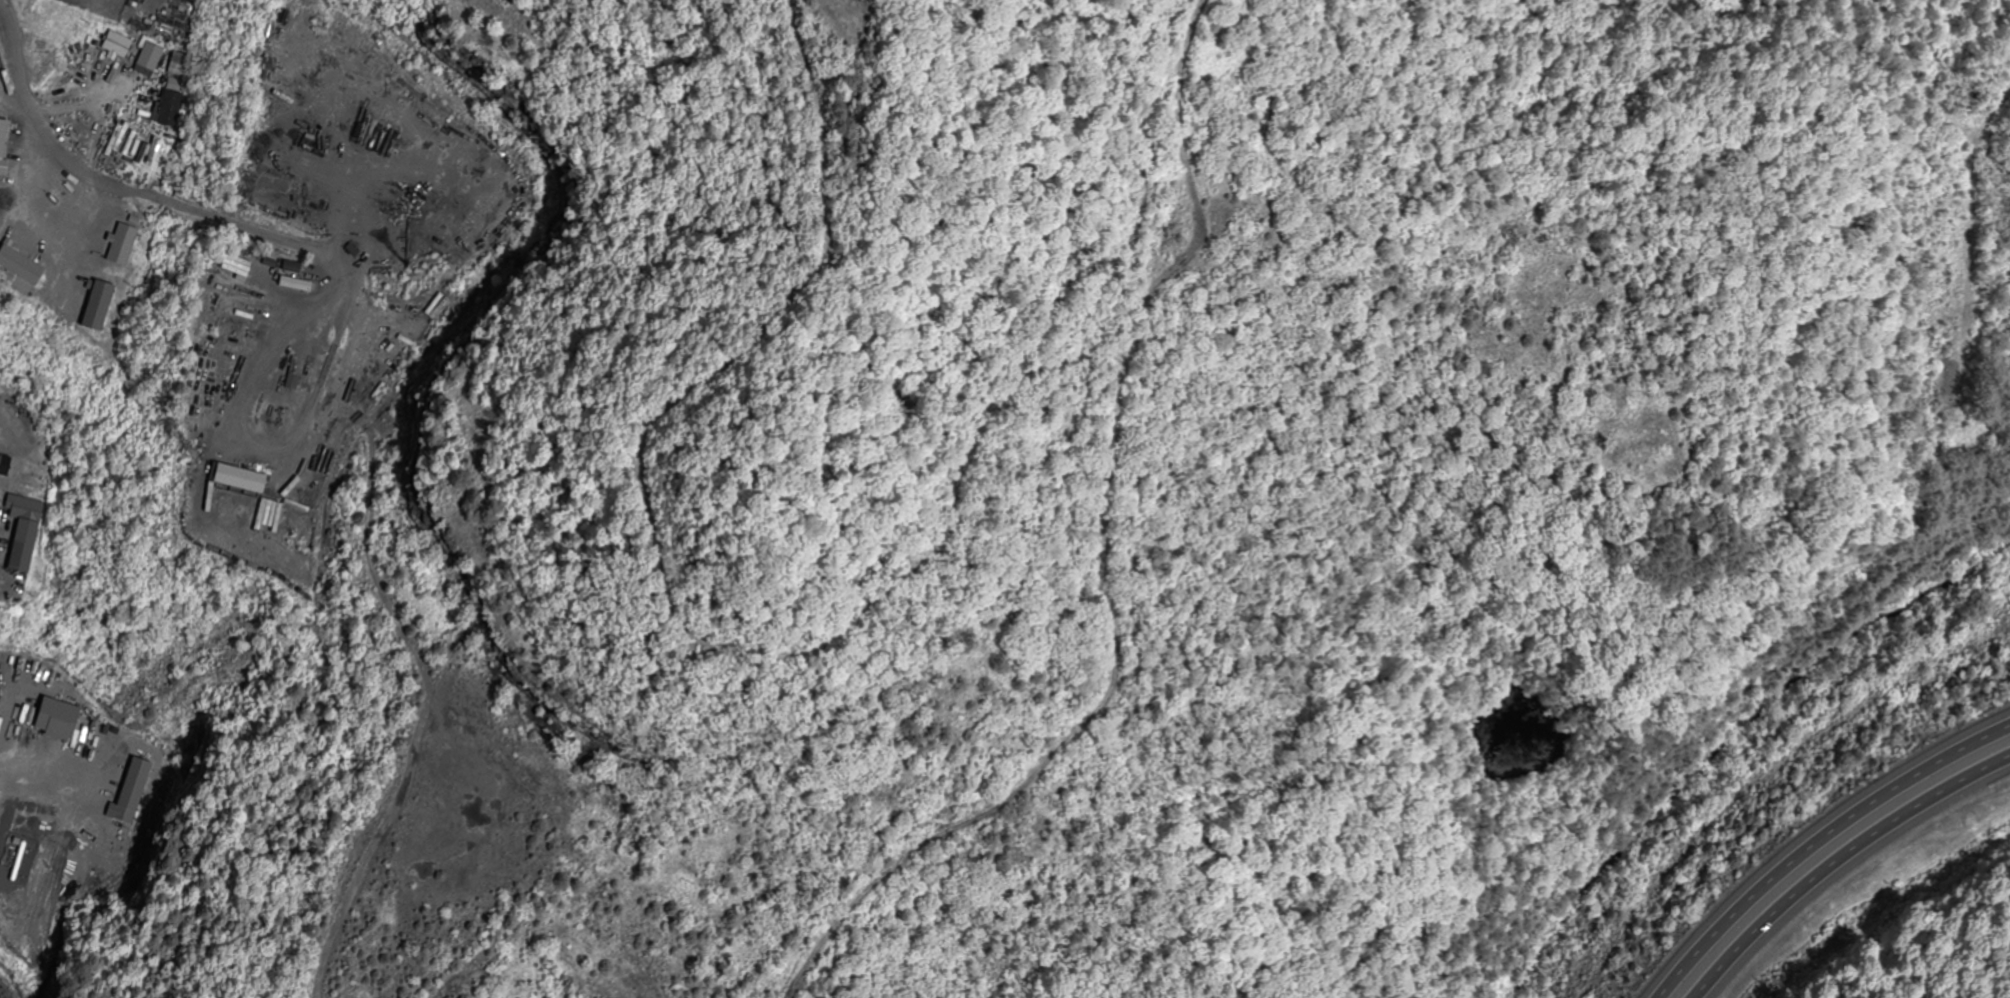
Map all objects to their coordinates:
building: (145, 60)
building: (169, 109)
building: (96, 232)
building: (292, 284)
building: (296, 372)
building: (8, 466)
building: (232, 479)
building: (256, 517)
road: (1821, 842)
road: (1839, 859)

